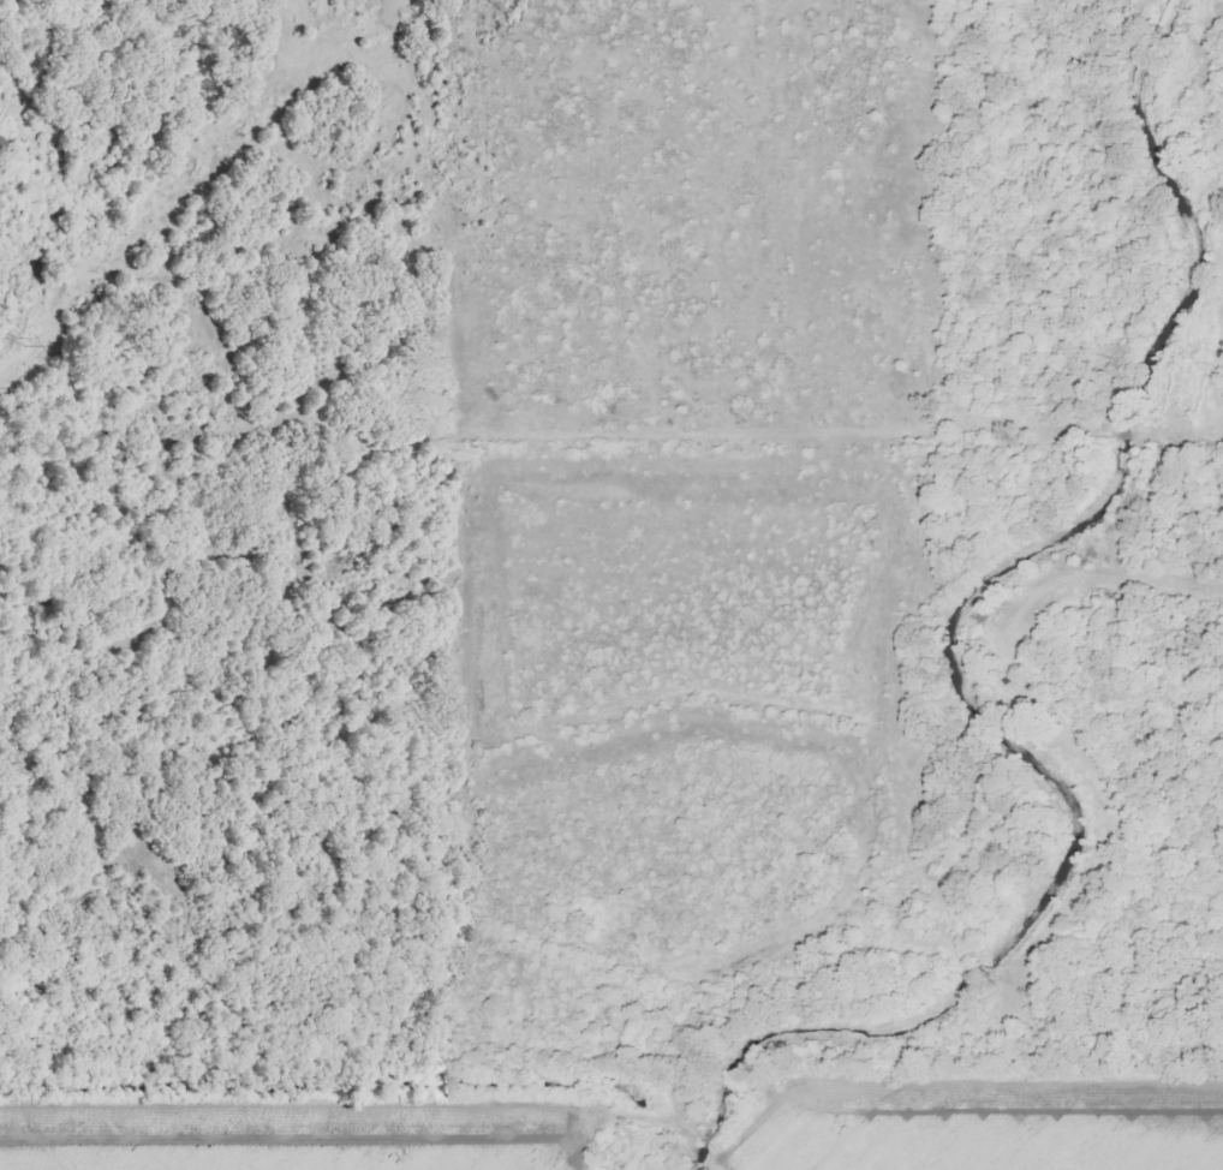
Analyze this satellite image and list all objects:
power tower: (41, 363)

